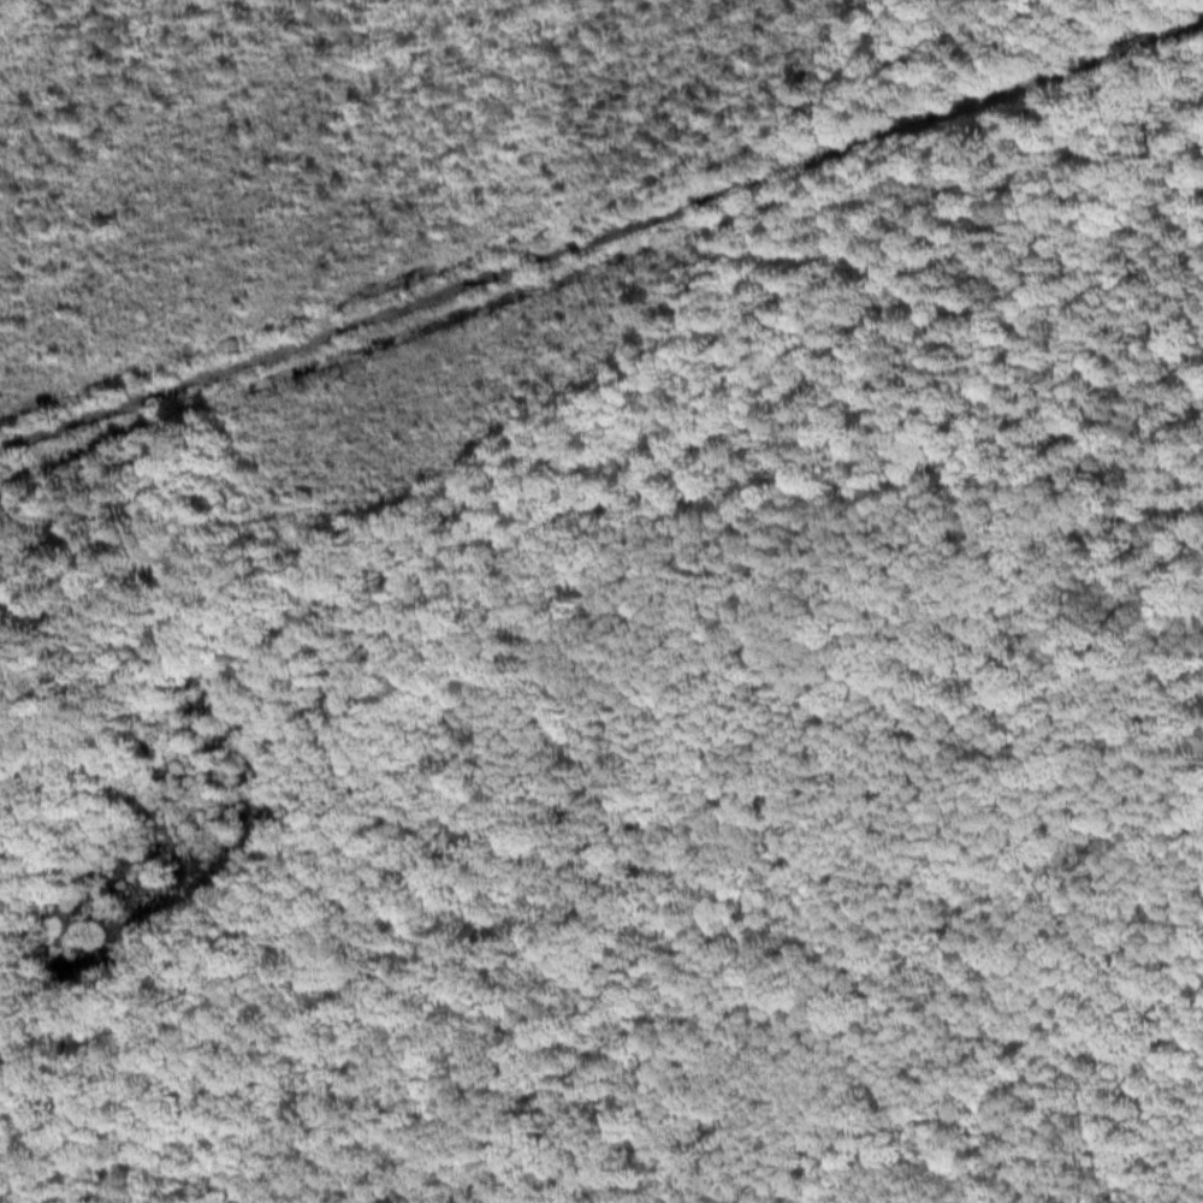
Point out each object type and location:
road: (601, 232)

